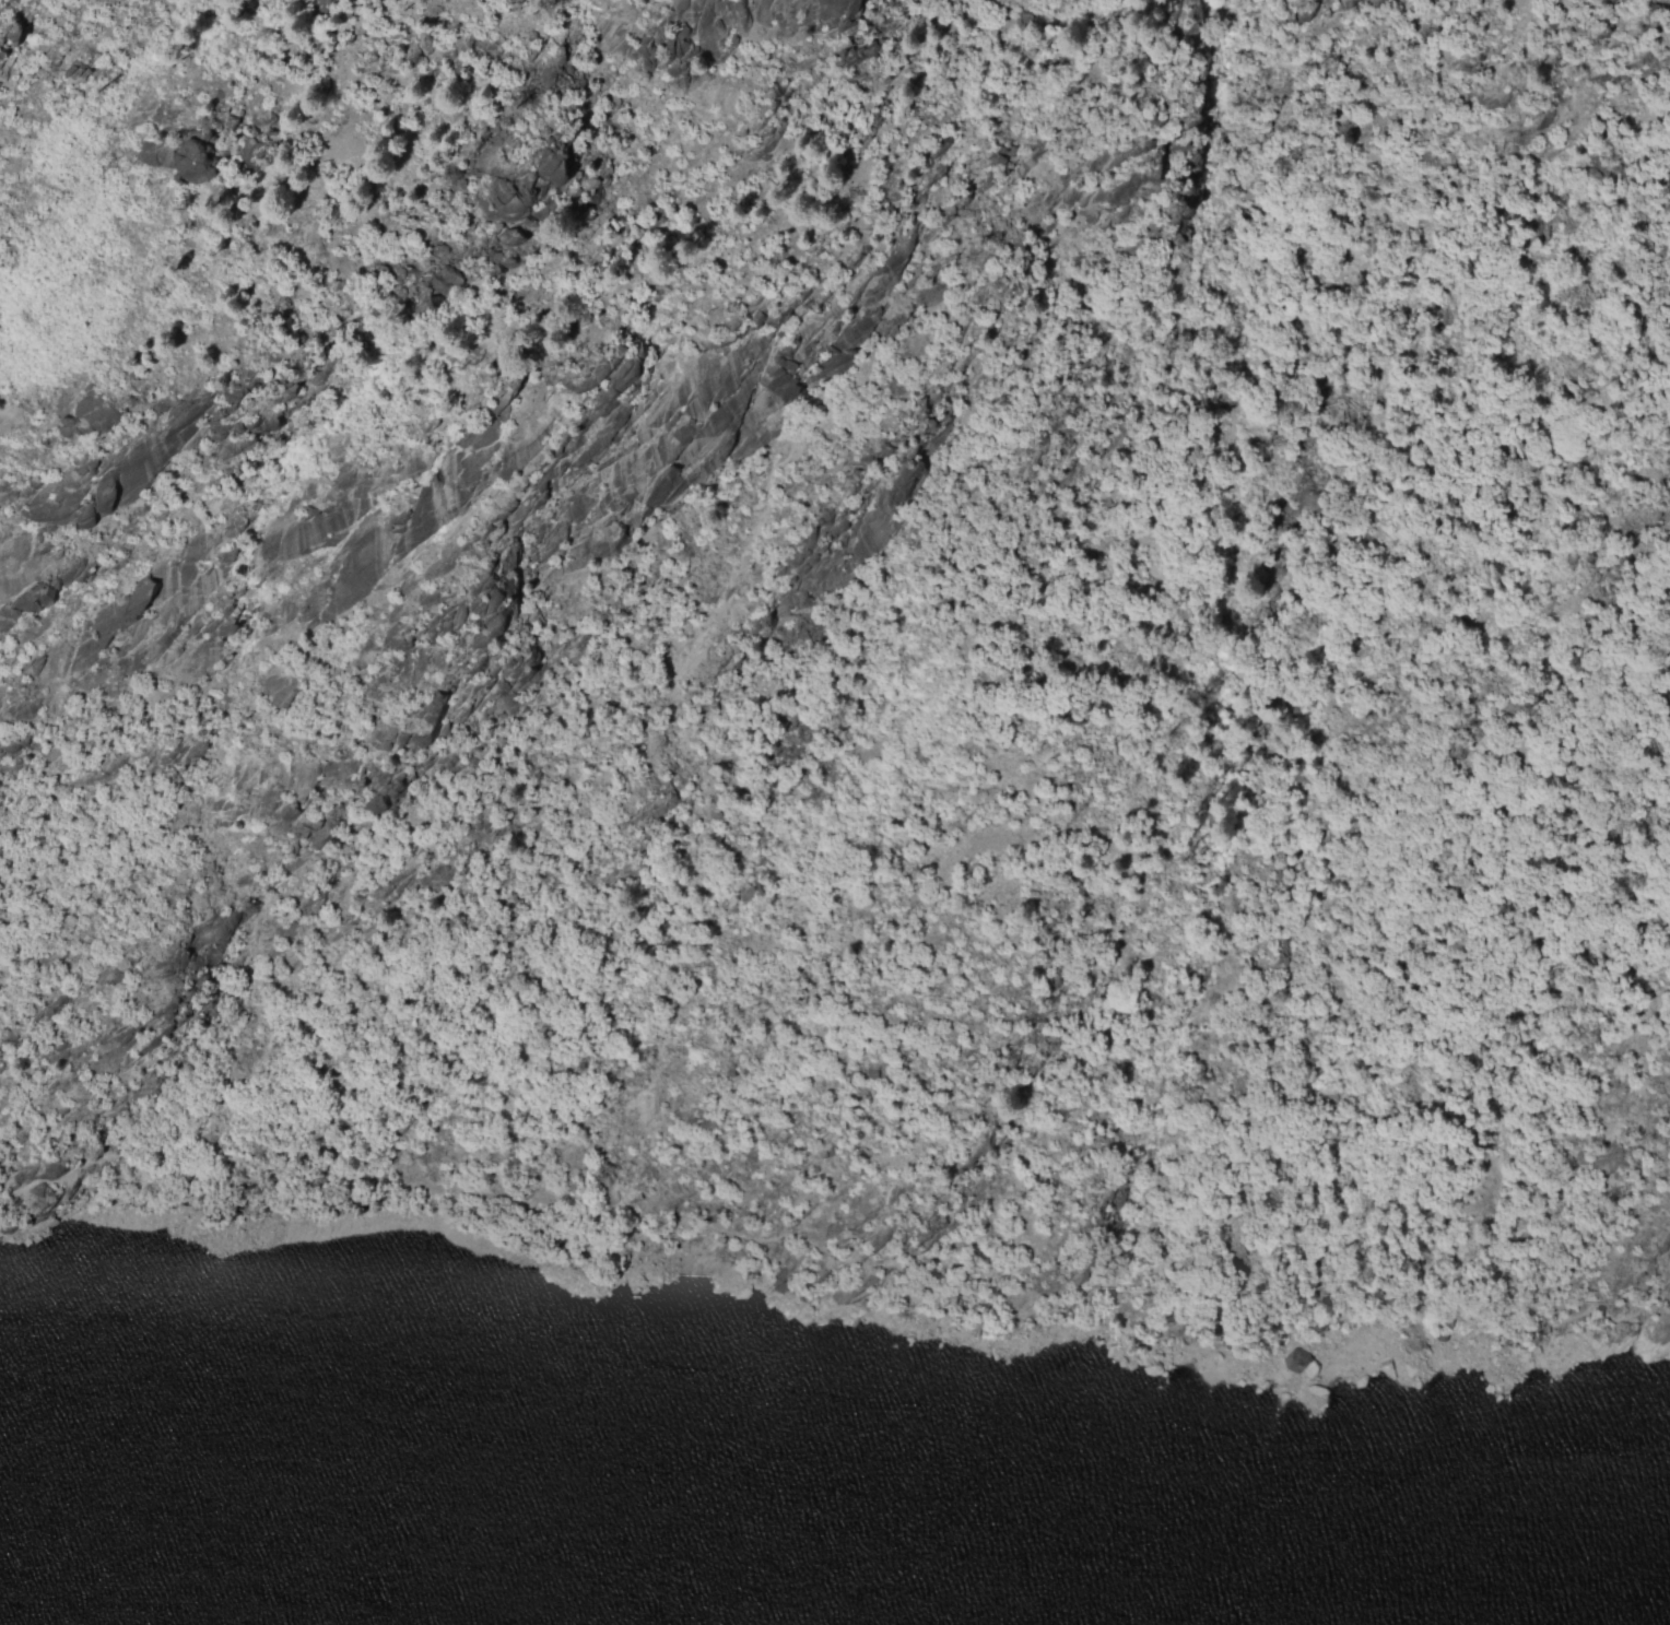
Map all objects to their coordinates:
road: (832, 1261)

